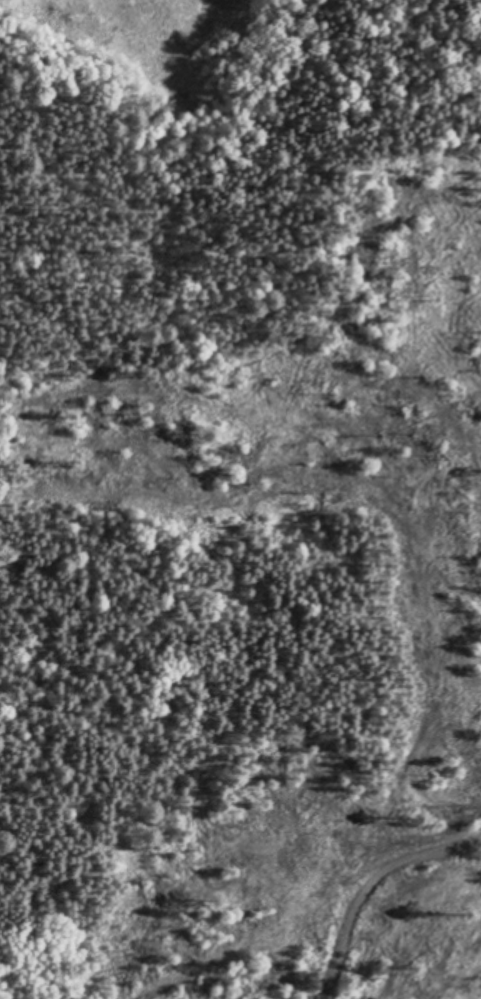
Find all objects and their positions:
road: (273, 969)

